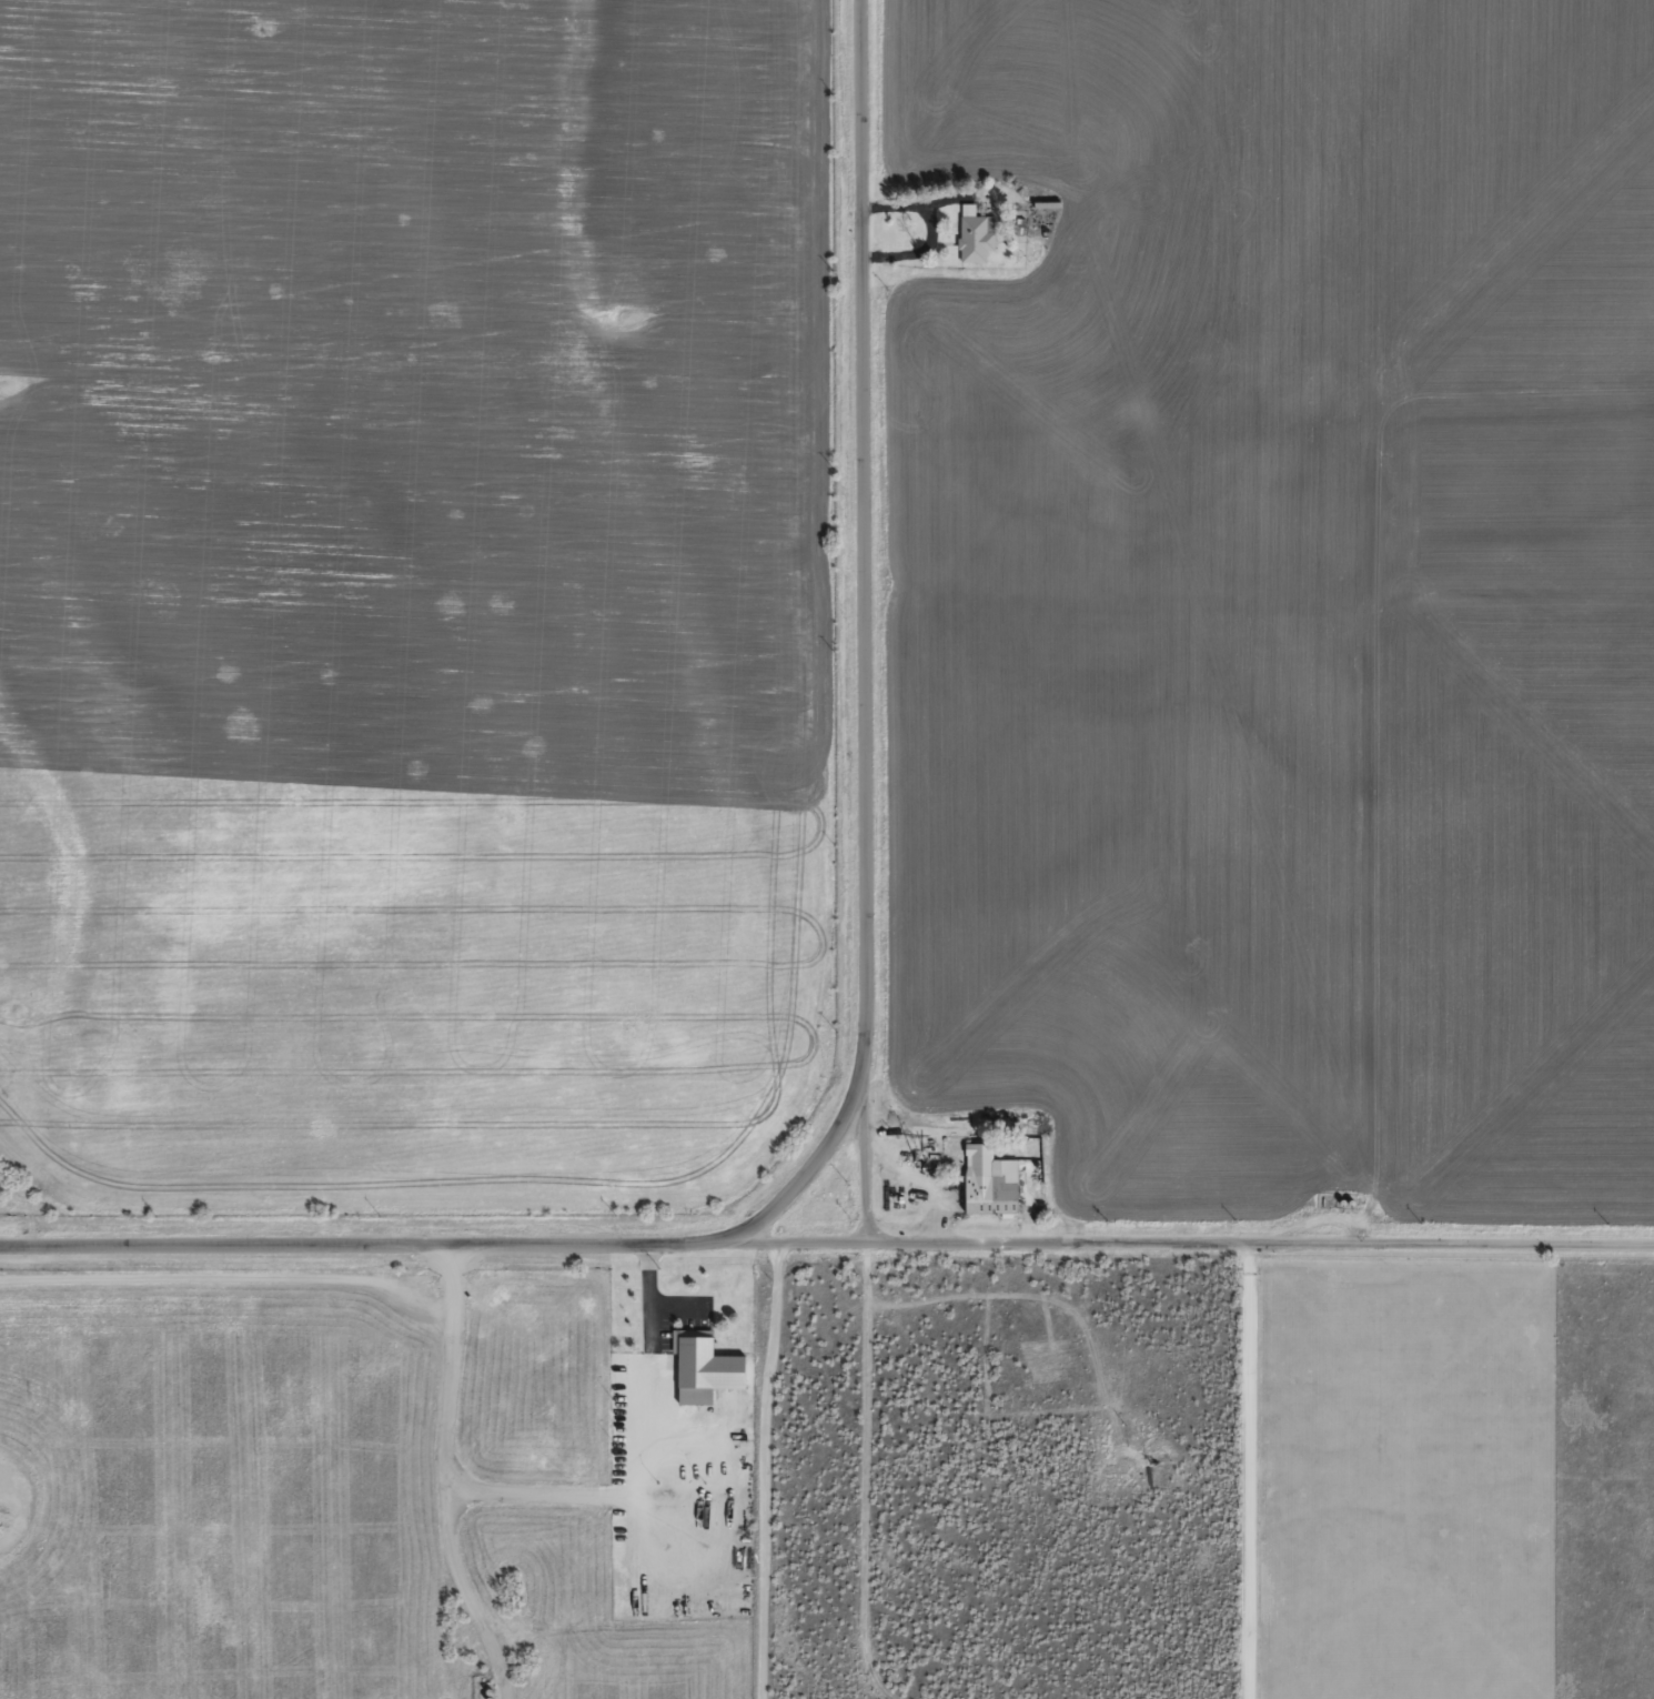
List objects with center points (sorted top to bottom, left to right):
building: (976, 234)
road: (873, 1018)
building: (990, 1182)
road: (1360, 1247)
road: (908, 1250)
building: (706, 1371)
road: (766, 1472)
road: (1250, 1472)

